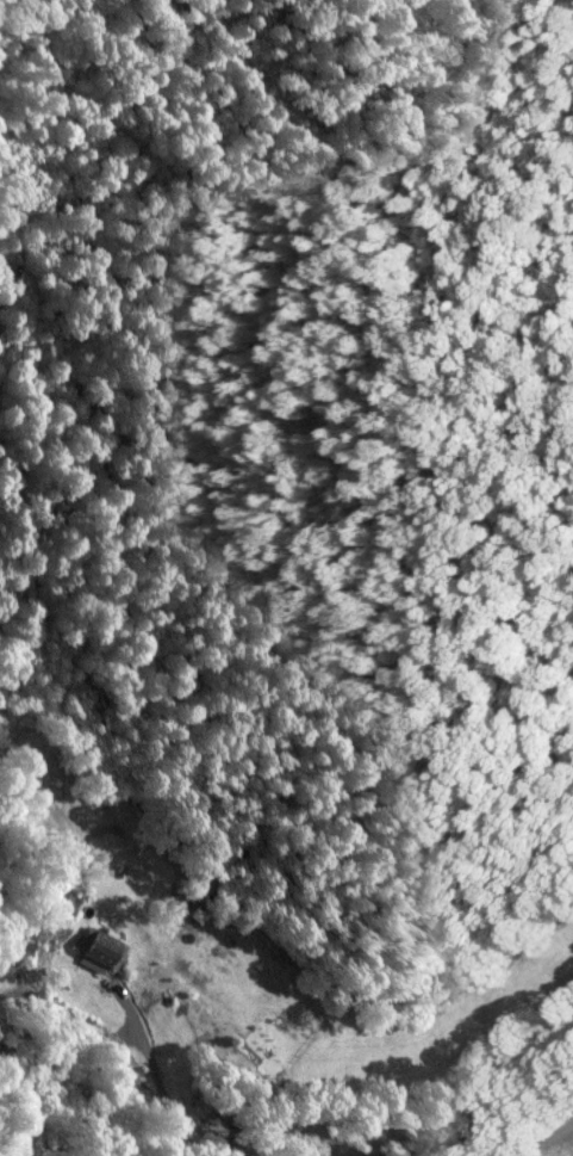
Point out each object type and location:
building: (193, 907)
building: (100, 948)

